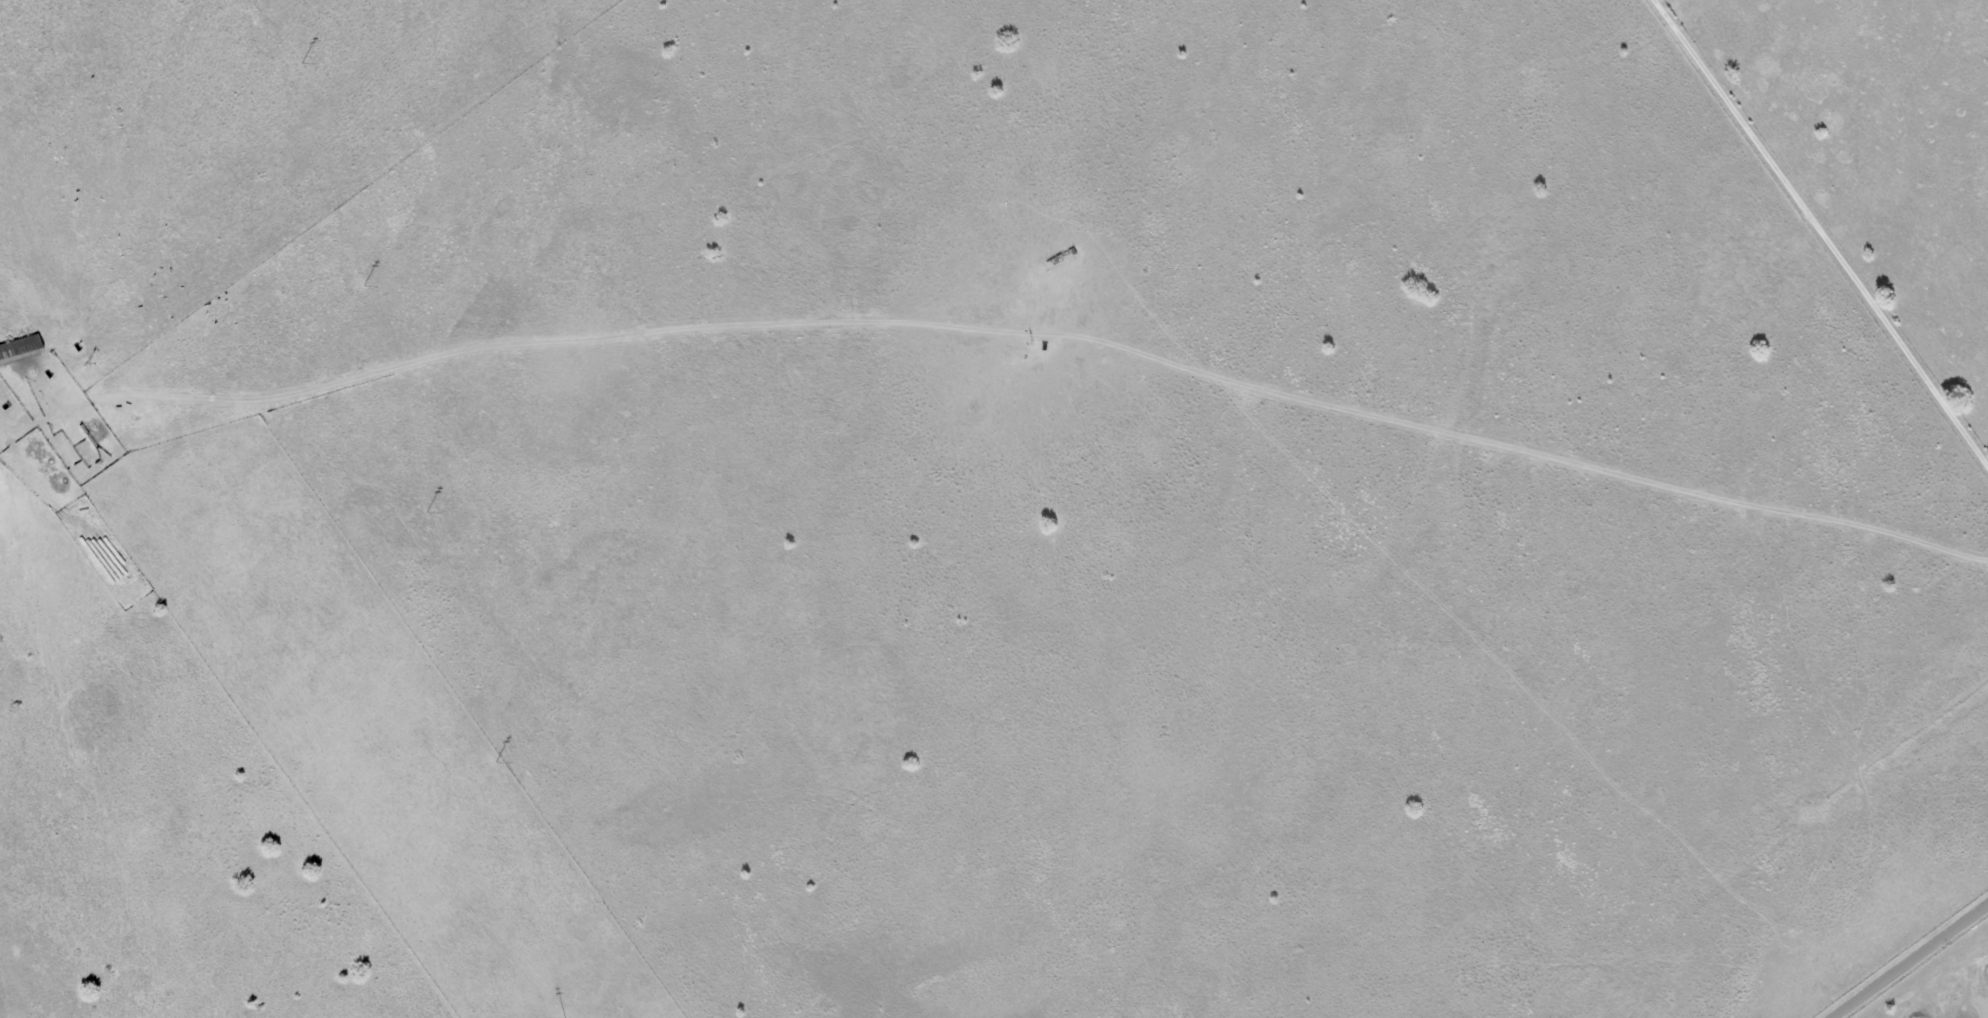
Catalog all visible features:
road: (1824, 227)
road: (1909, 960)

